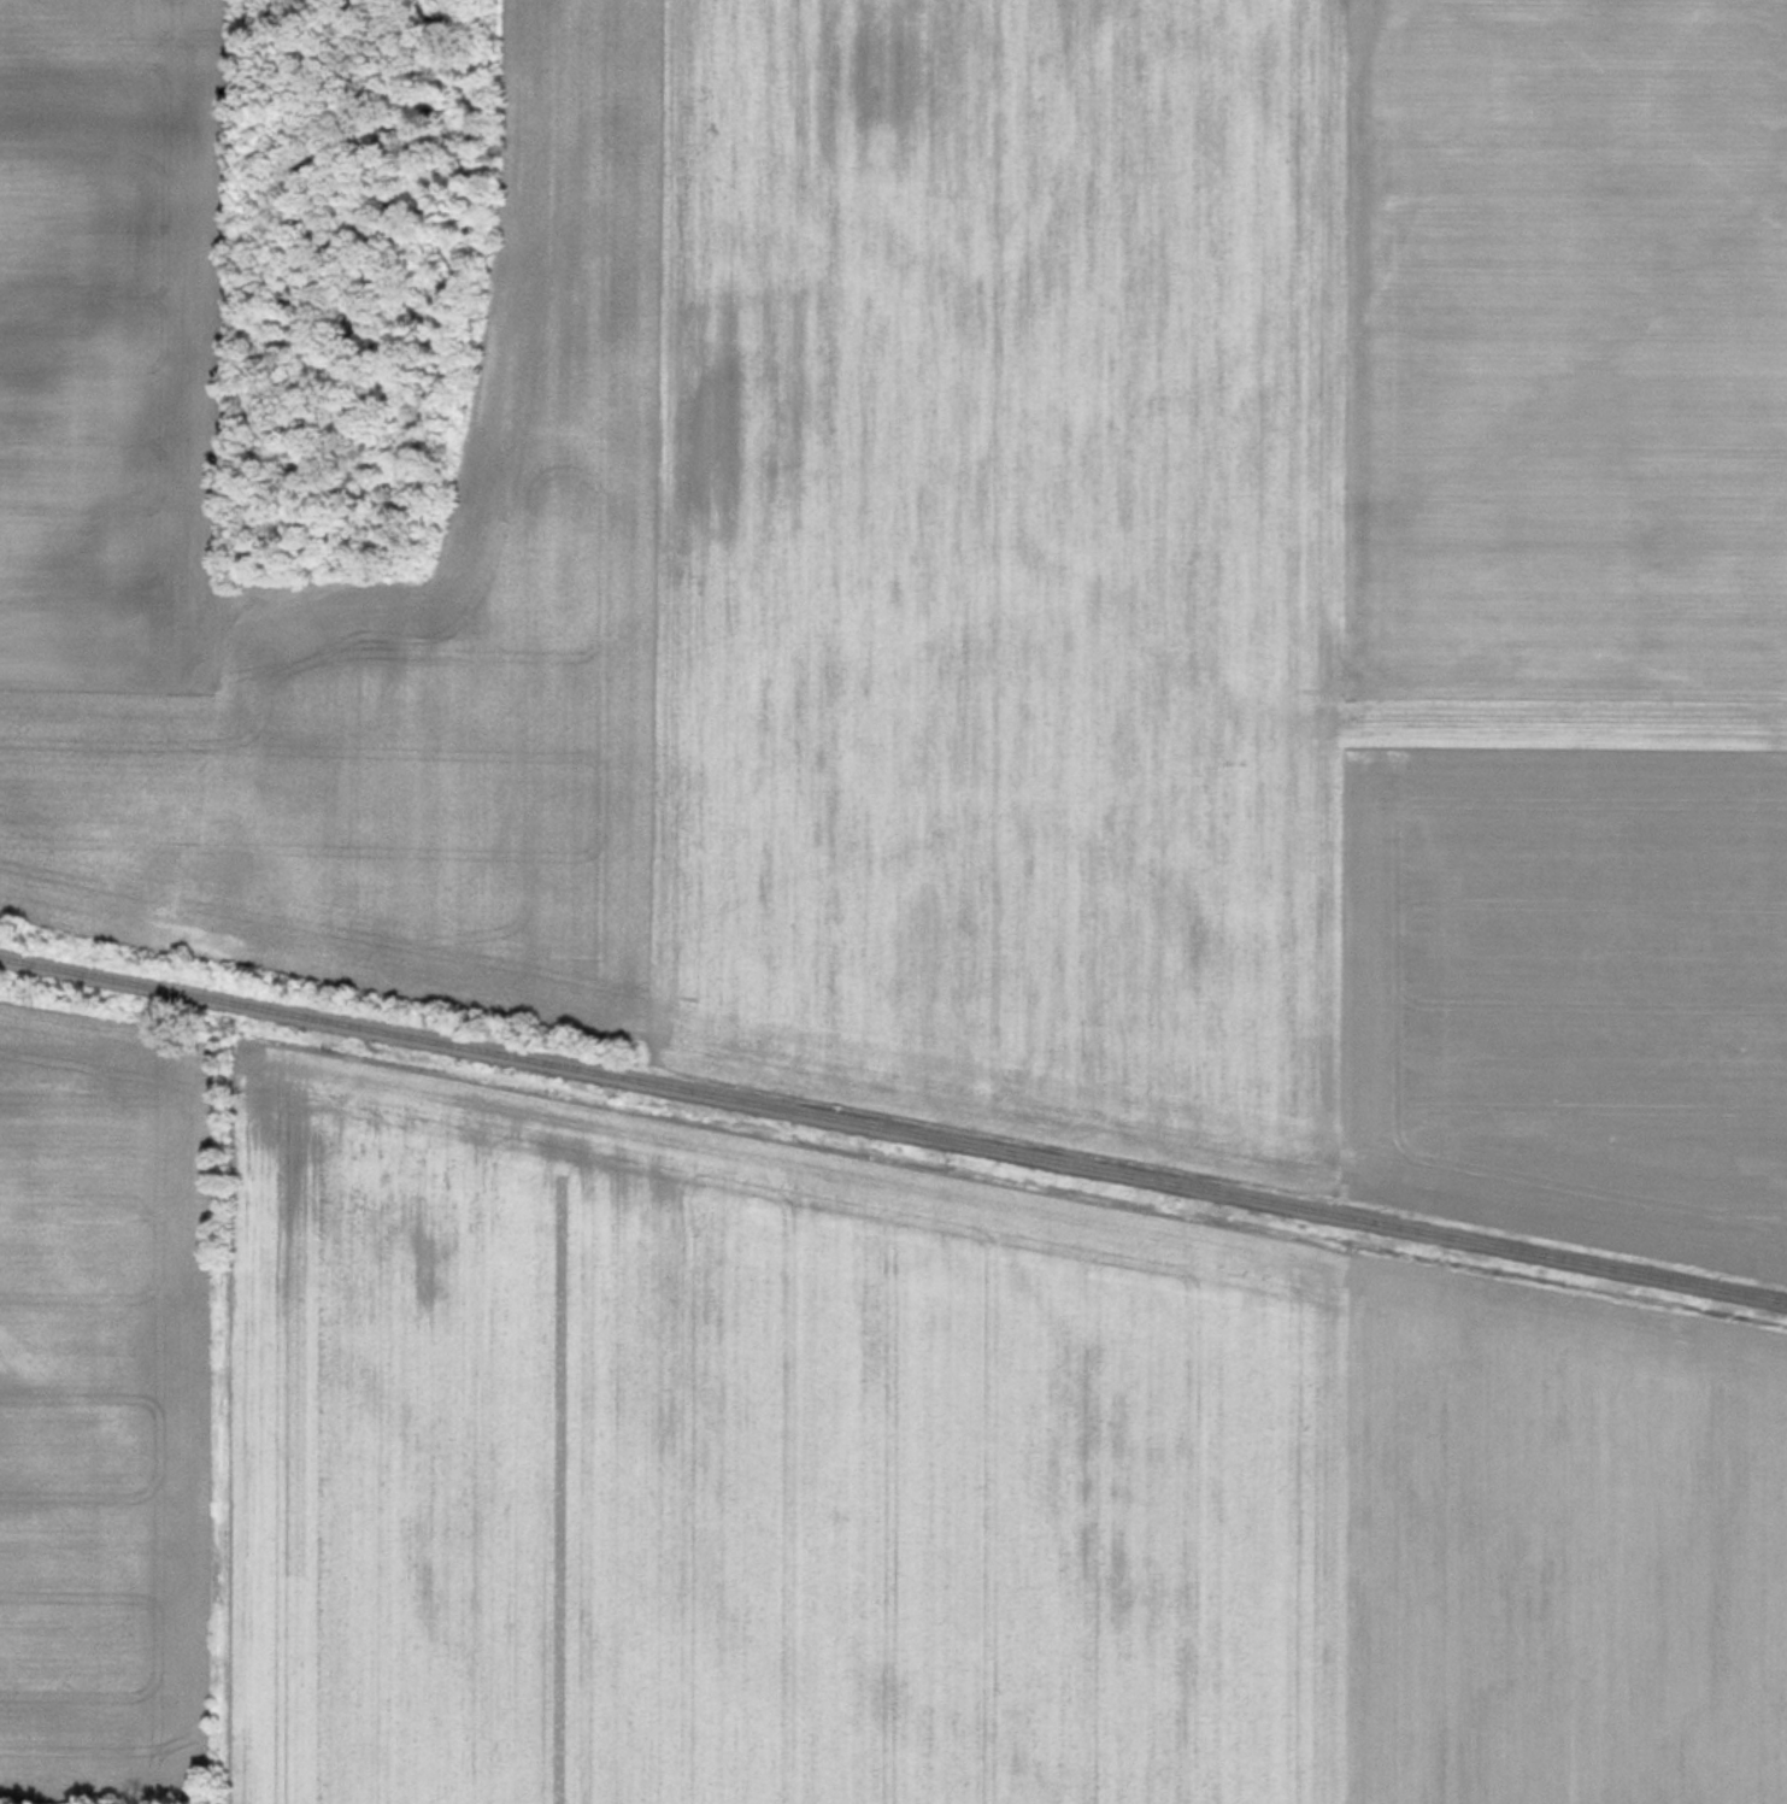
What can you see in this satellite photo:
railway: (893, 1129)

